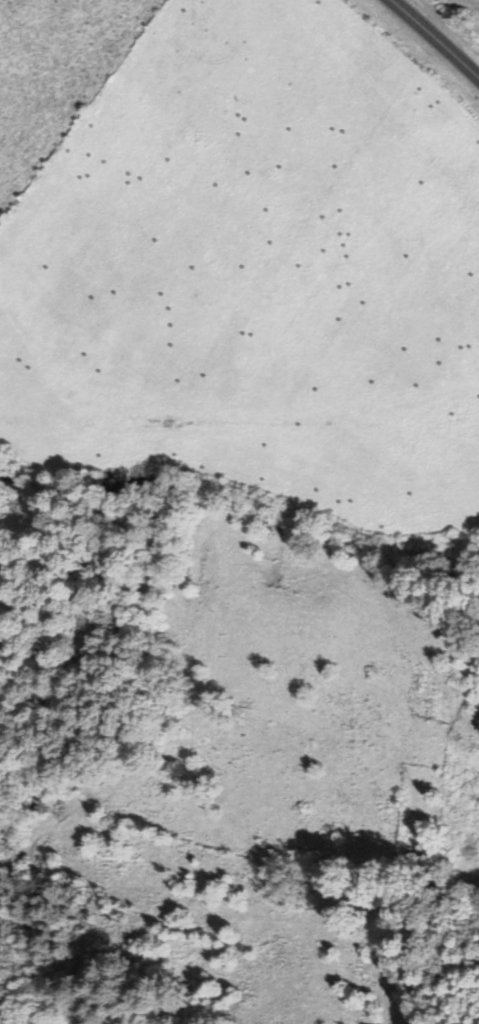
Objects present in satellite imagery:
road: (433, 39)

